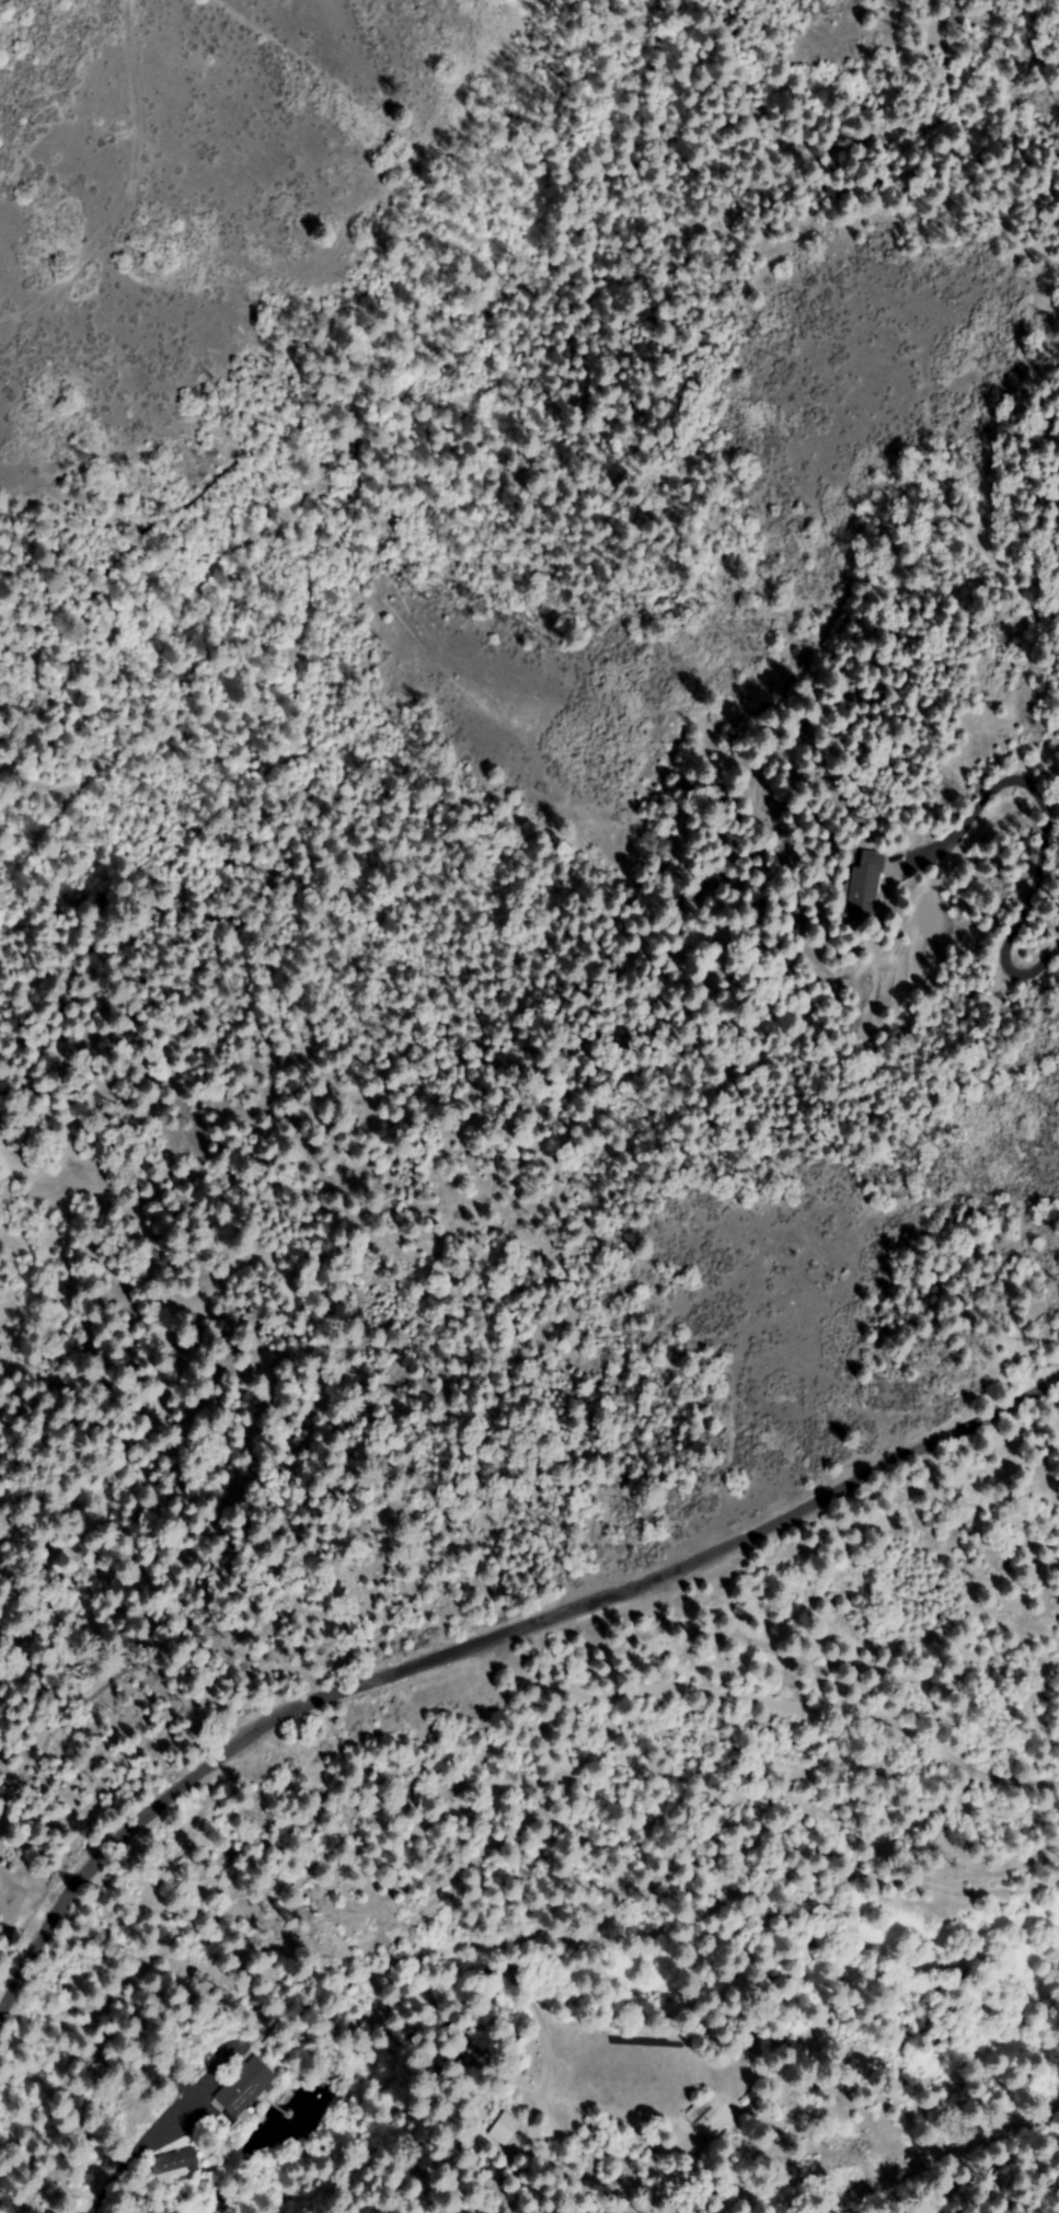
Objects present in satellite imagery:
road: (97, 151)
road: (137, 508)
building: (863, 885)
road: (488, 1644)
building: (456, 2036)
building: (243, 2088)
building: (748, 2098)
building: (711, 2117)
building: (505, 2130)
building: (174, 2162)

